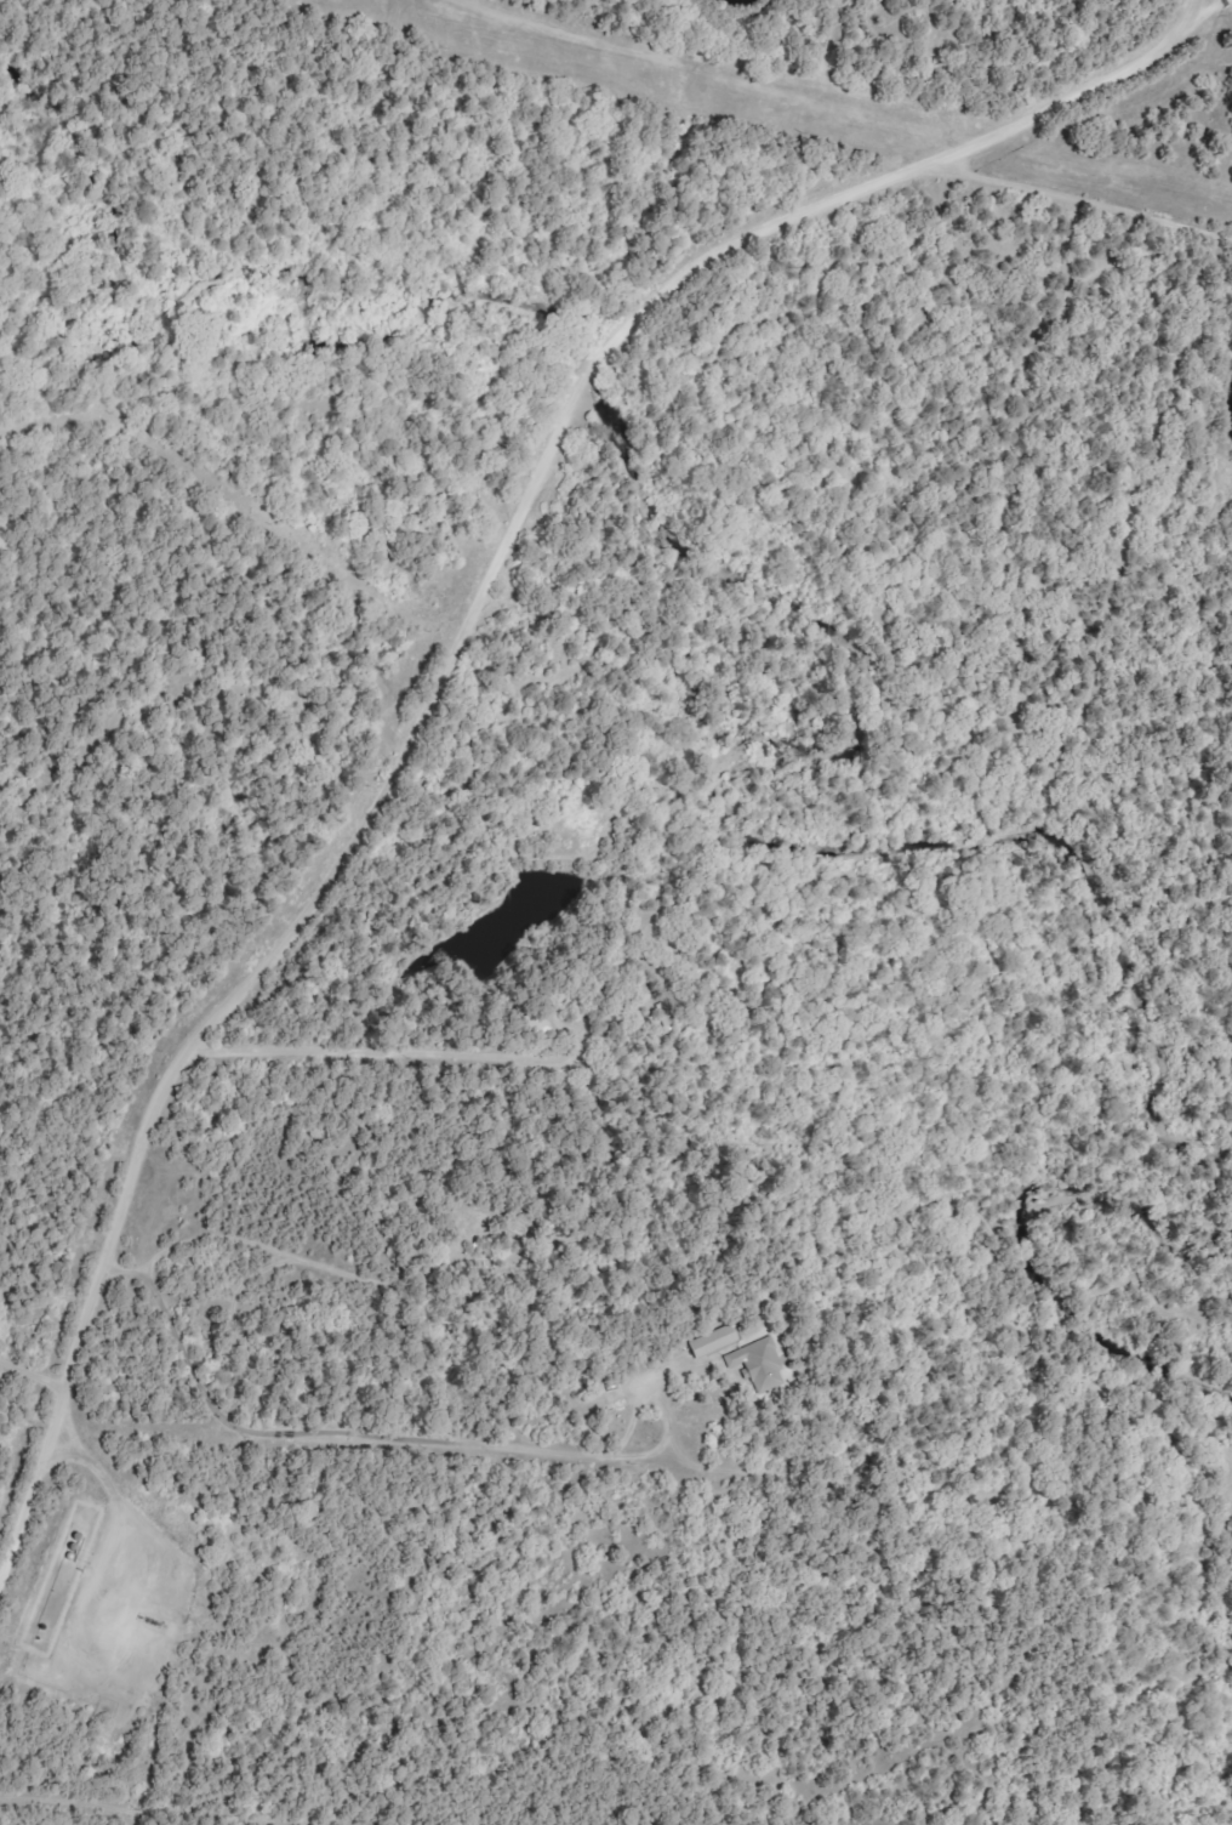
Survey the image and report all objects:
road: (1040, 167)
road: (1040, 246)
road: (449, 653)
building: (718, 1341)
building: (762, 1364)
petroleum well: (153, 1622)

